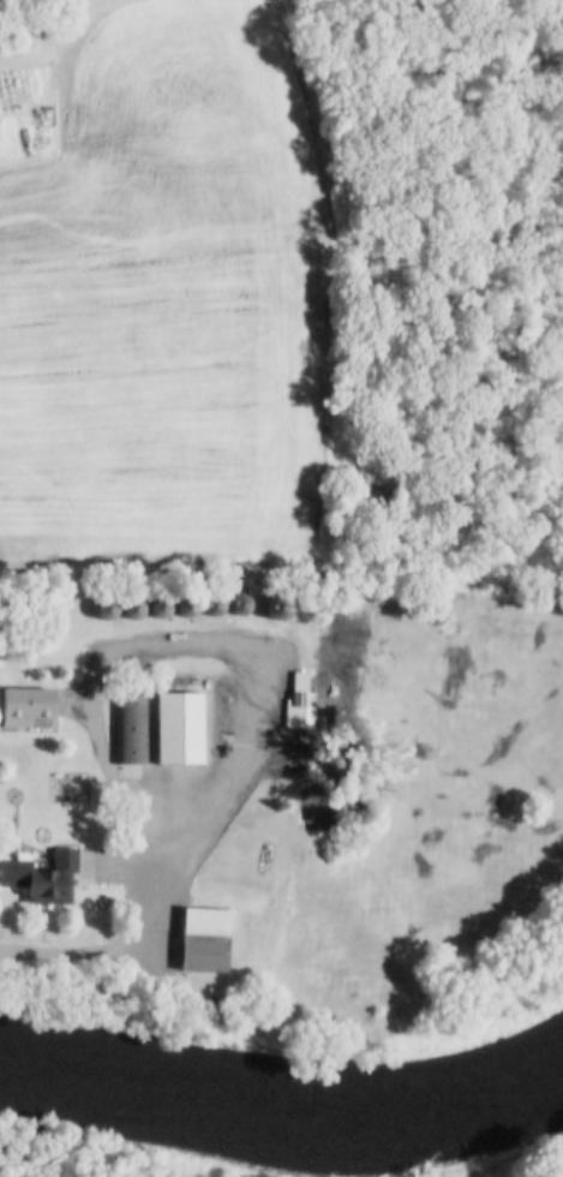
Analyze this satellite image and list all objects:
building: (128, 610)
road: (185, 646)
building: (297, 703)
building: (130, 728)
building: (175, 731)
building: (41, 878)
building: (198, 940)
road: (101, 955)
river: (282, 1109)

